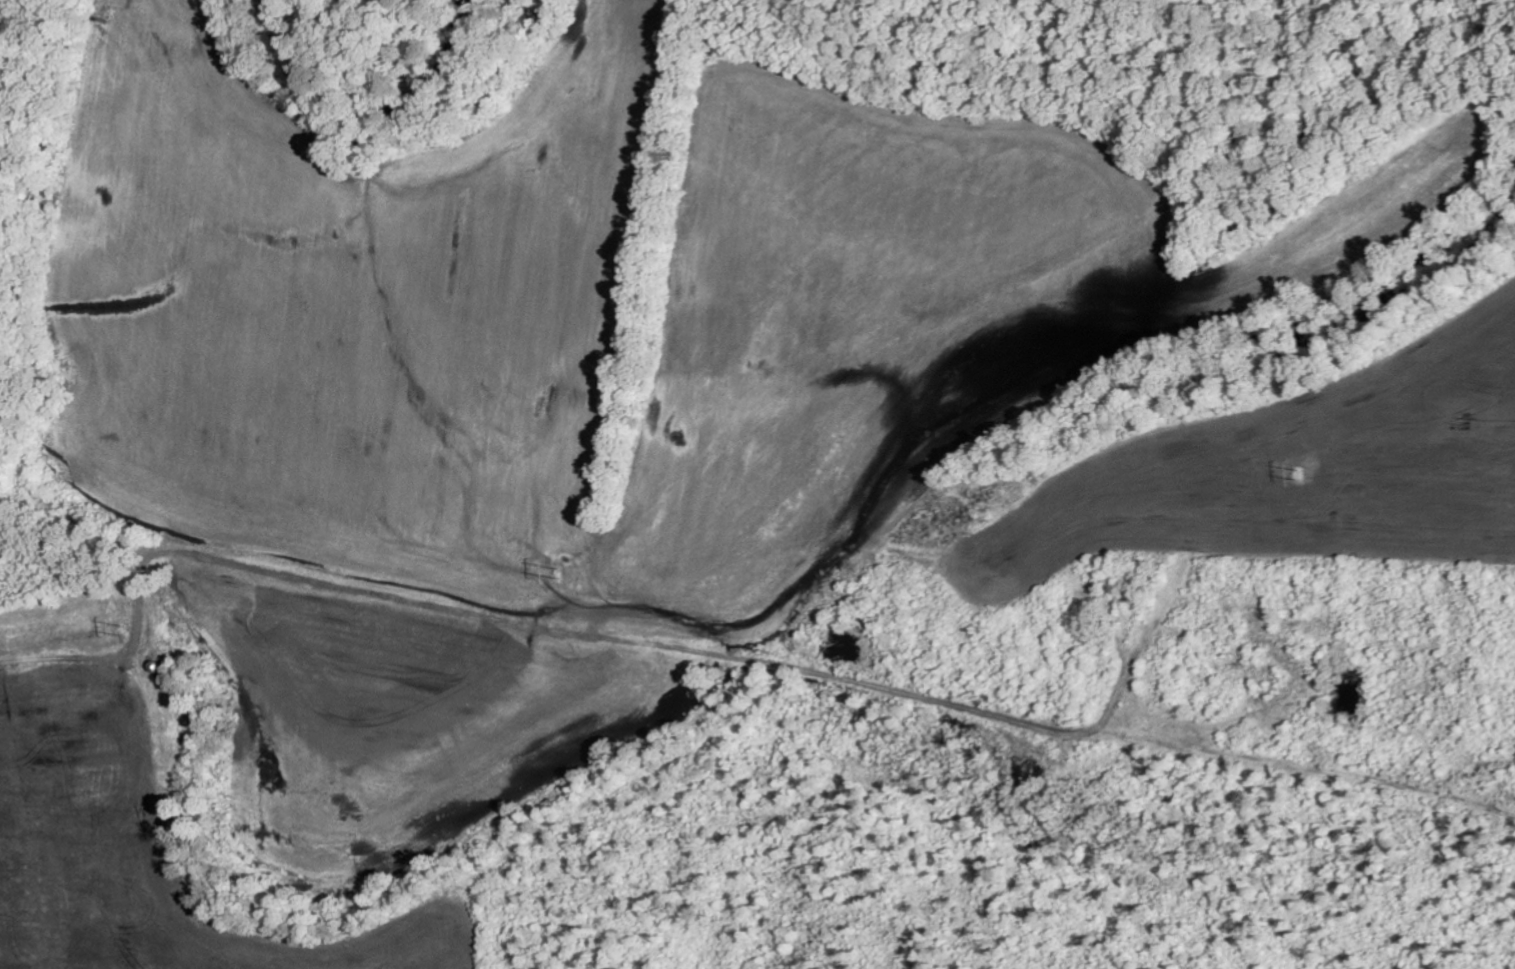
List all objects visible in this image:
road: (501, 625)

